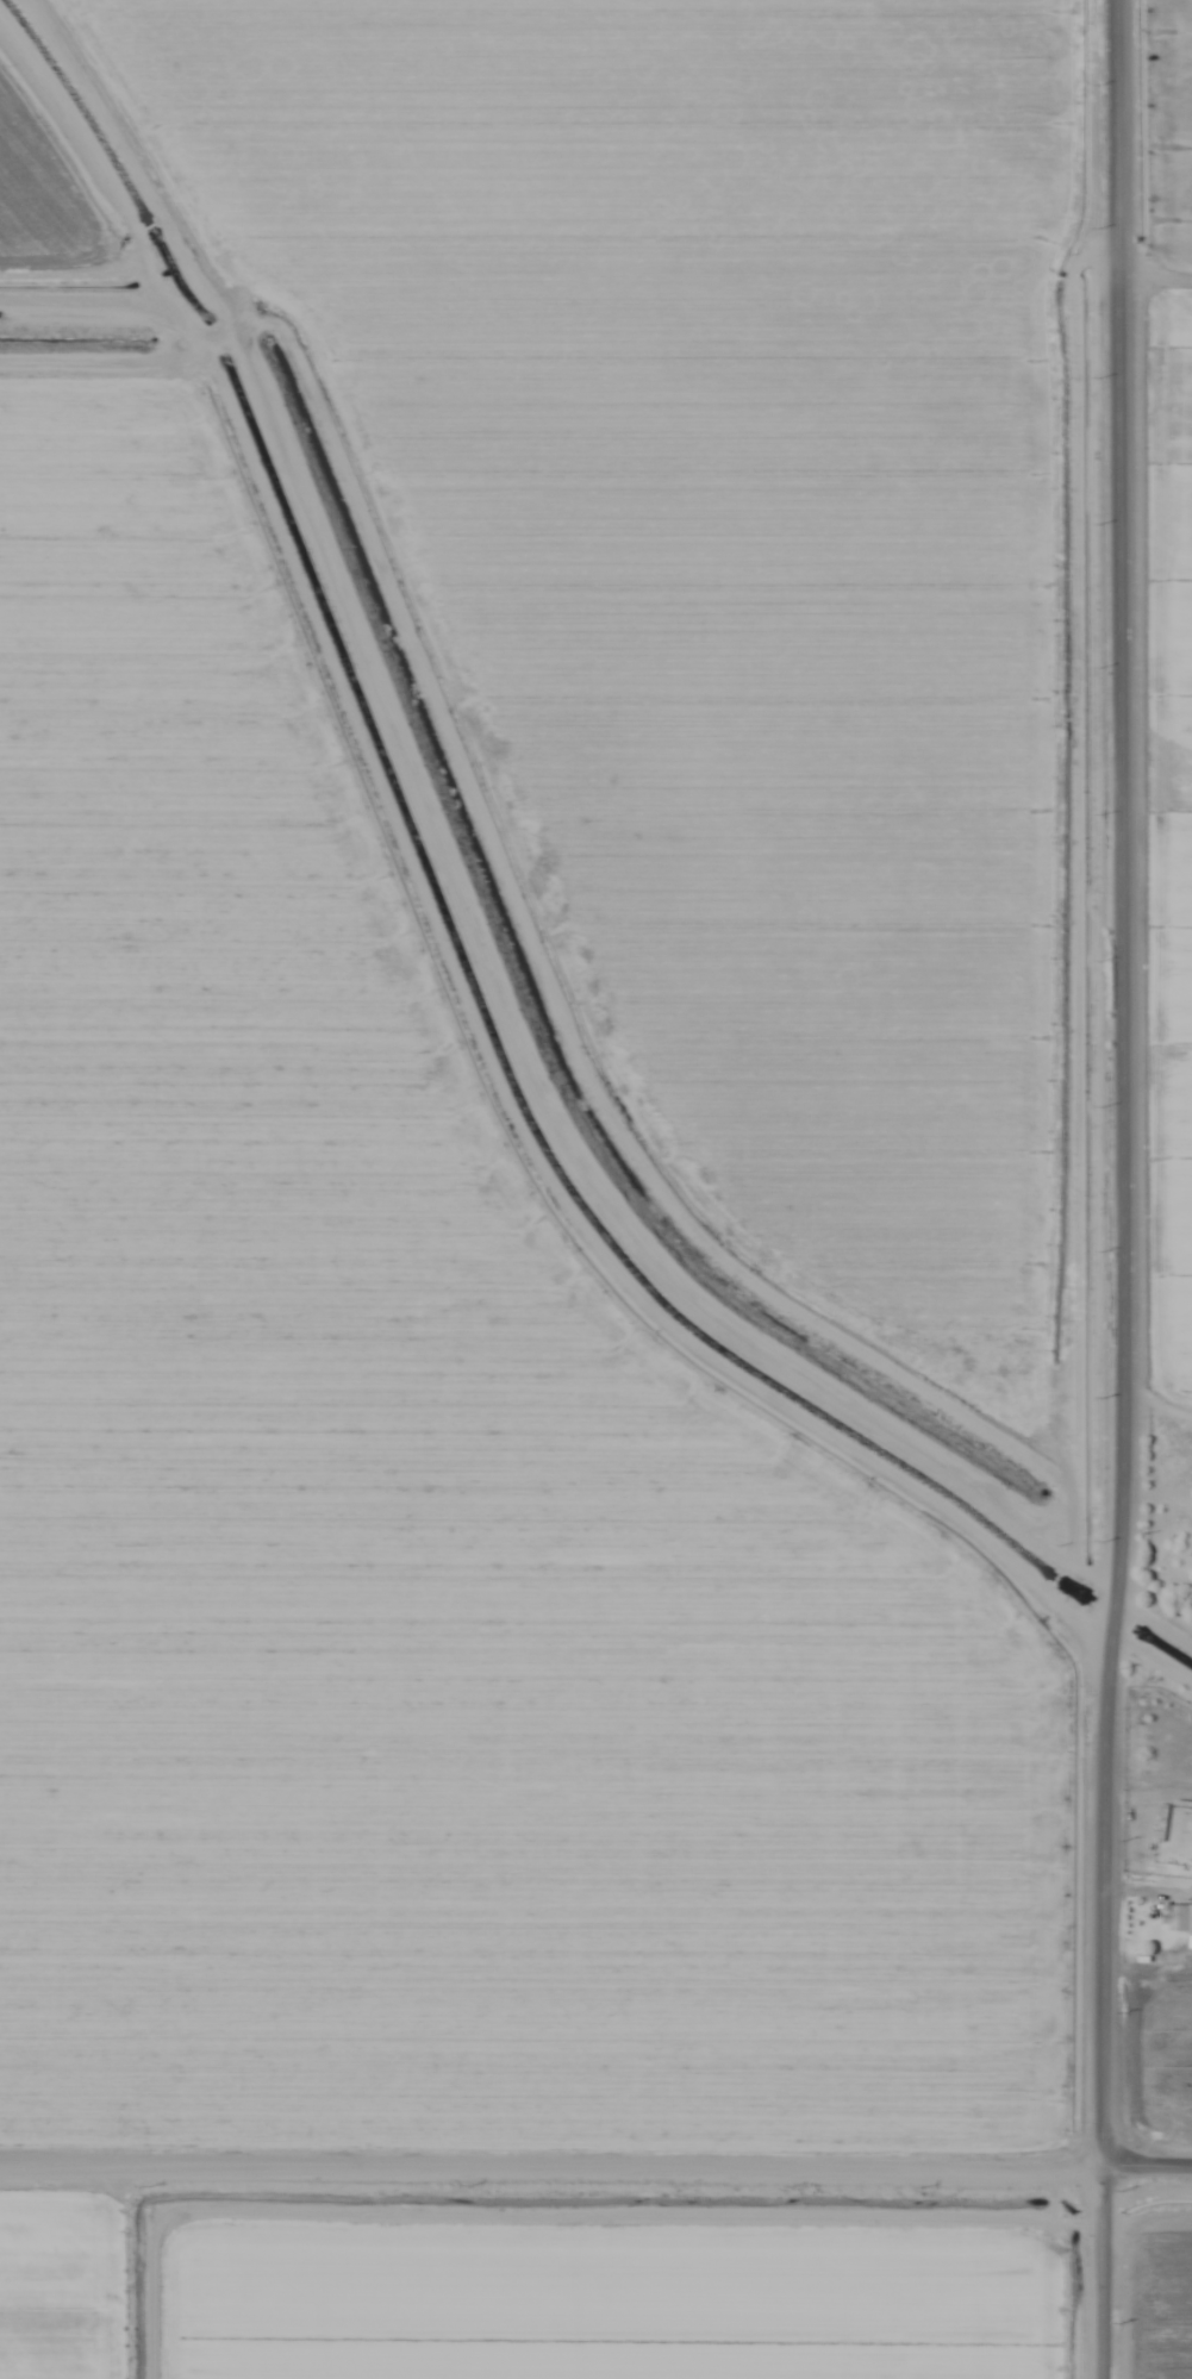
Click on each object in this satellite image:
road: (1122, 1189)
road: (1154, 1621)
building: (1177, 1918)
road: (595, 2162)

